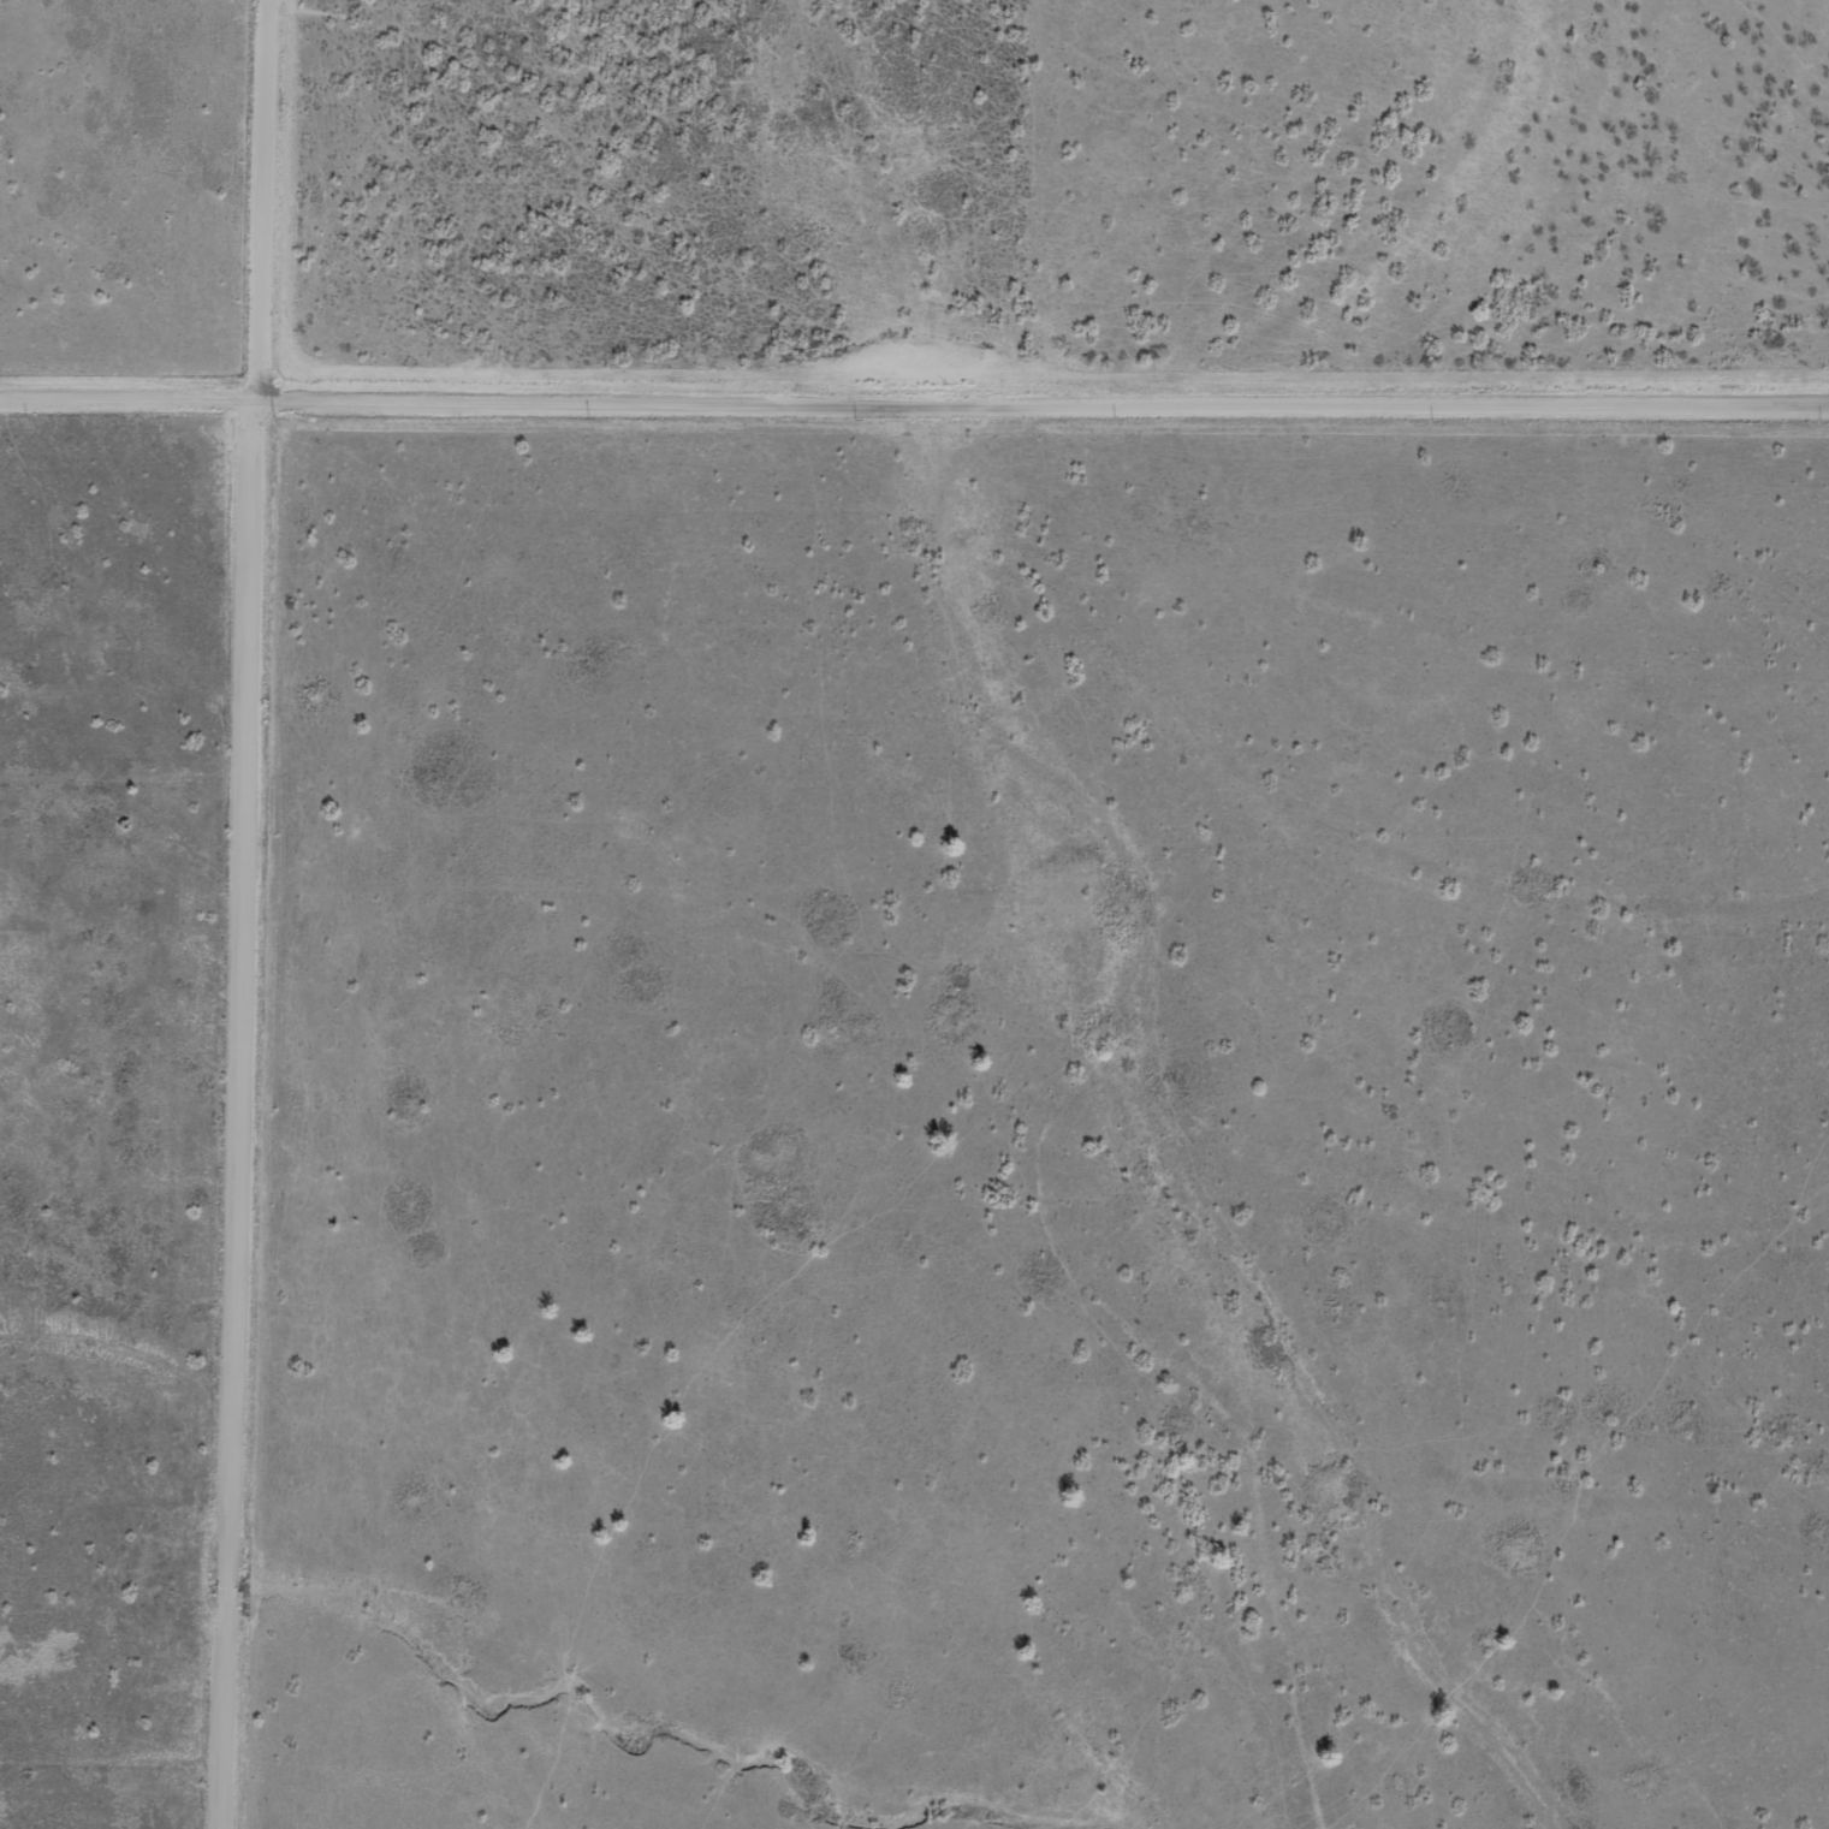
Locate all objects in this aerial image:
road: (914, 405)
road: (248, 914)

